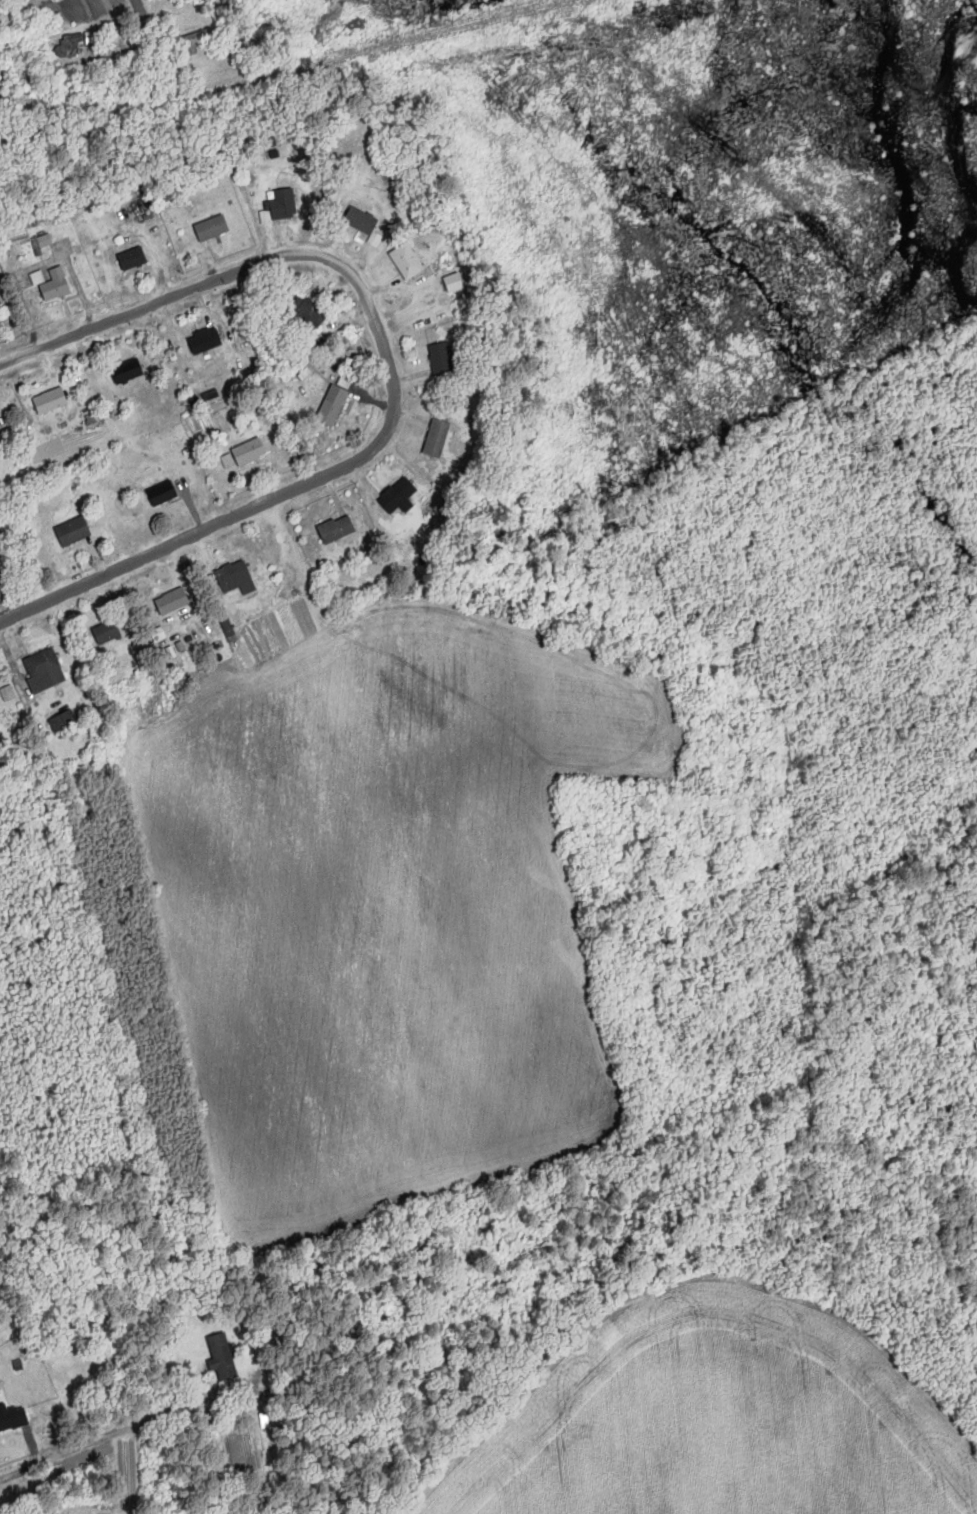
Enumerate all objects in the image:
road: (142, 14)
building: (195, 41)
building: (74, 46)
building: (24, 70)
railway: (284, 71)
building: (285, 204)
building: (365, 223)
building: (213, 228)
building: (134, 258)
building: (409, 261)
building: (57, 285)
building: (310, 313)
building: (206, 340)
building: (444, 358)
building: (129, 370)
road: (394, 377)
building: (52, 401)
building: (334, 405)
building: (0, 430)
building: (438, 438)
building: (251, 452)
building: (164, 493)
building: (396, 497)
building: (338, 529)
building: (74, 531)
building: (1, 573)
building: (238, 578)
building: (174, 601)
building: (108, 632)
building: (46, 670)
building: (64, 722)
building: (223, 1358)
building: (14, 1419)
road: (101, 1435)

